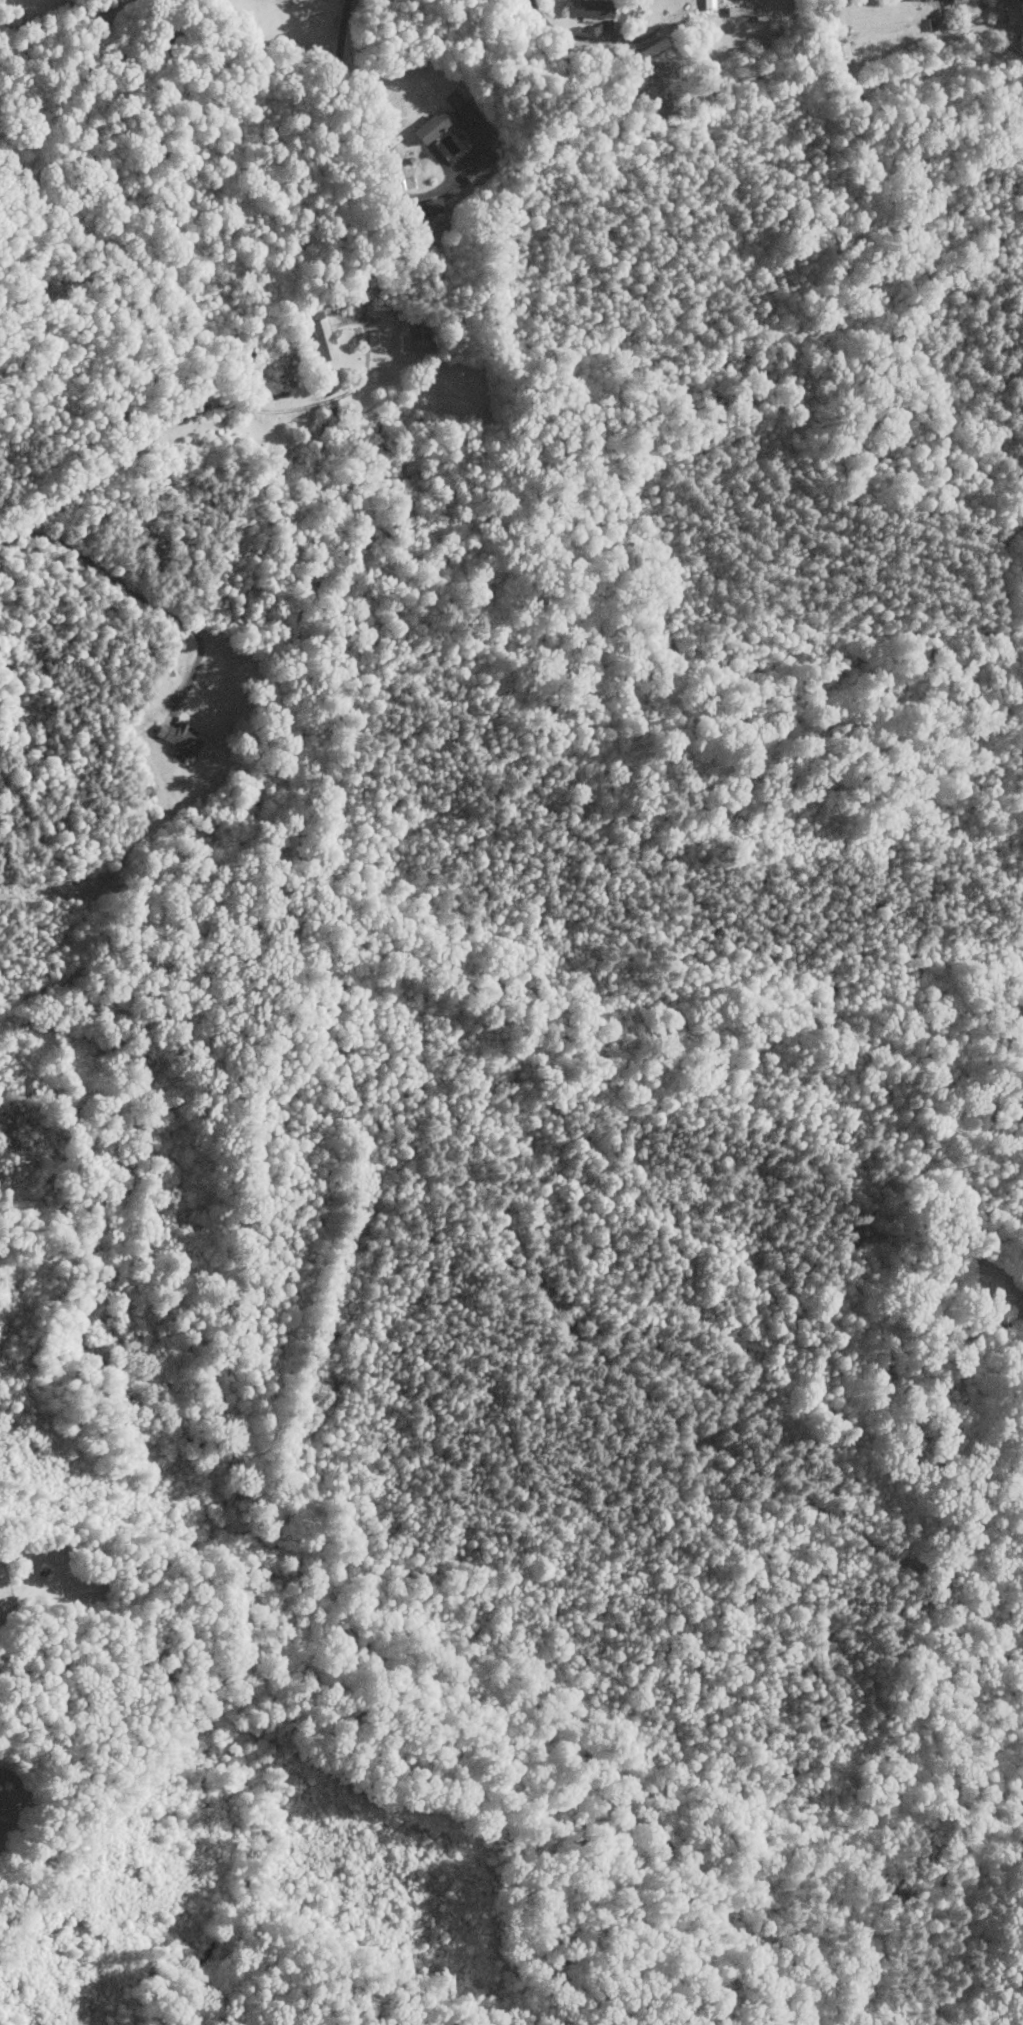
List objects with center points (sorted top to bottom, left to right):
building: (905, 0)
building: (952, 2)
building: (585, 8)
building: (744, 11)
building: (931, 24)
road: (583, 39)
building: (641, 54)
building: (842, 55)
building: (428, 127)
road: (325, 149)
building: (476, 164)
building: (416, 211)
building: (408, 338)
building: (319, 340)
road: (195, 409)
road: (140, 599)
building: (177, 740)

